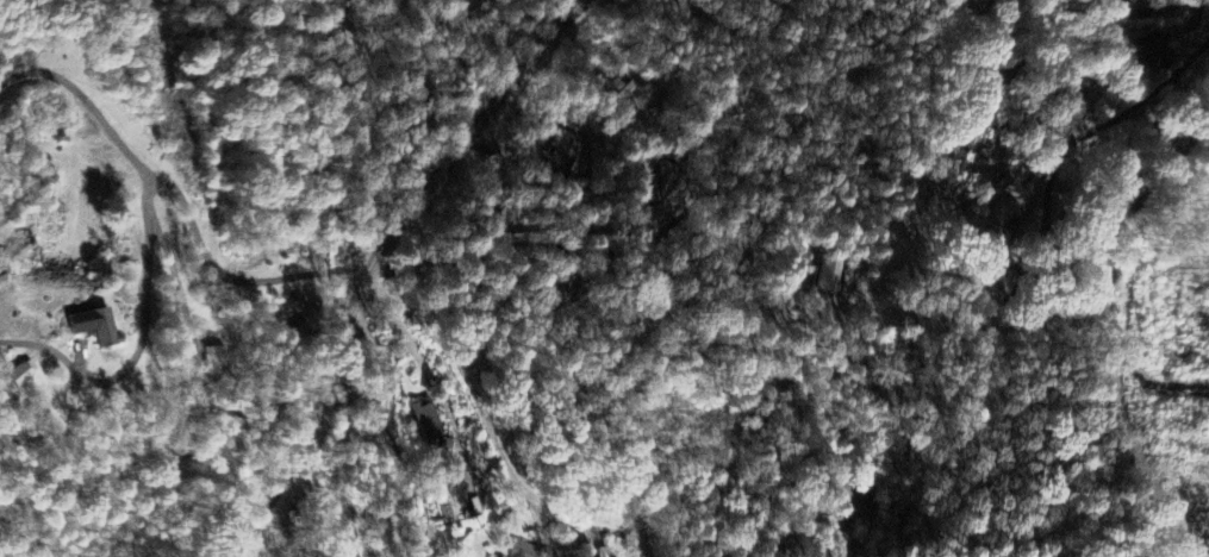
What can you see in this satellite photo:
road: (1145, 7)
building: (1153, 52)
road: (85, 96)
building: (631, 115)
road: (954, 129)
road: (625, 165)
road: (1052, 183)
building: (1008, 192)
road: (680, 219)
road: (372, 259)
road: (231, 275)
building: (829, 277)
building: (100, 328)
building: (20, 376)
building: (428, 419)
road: (390, 430)
road: (496, 437)
road: (542, 522)
building: (524, 550)

